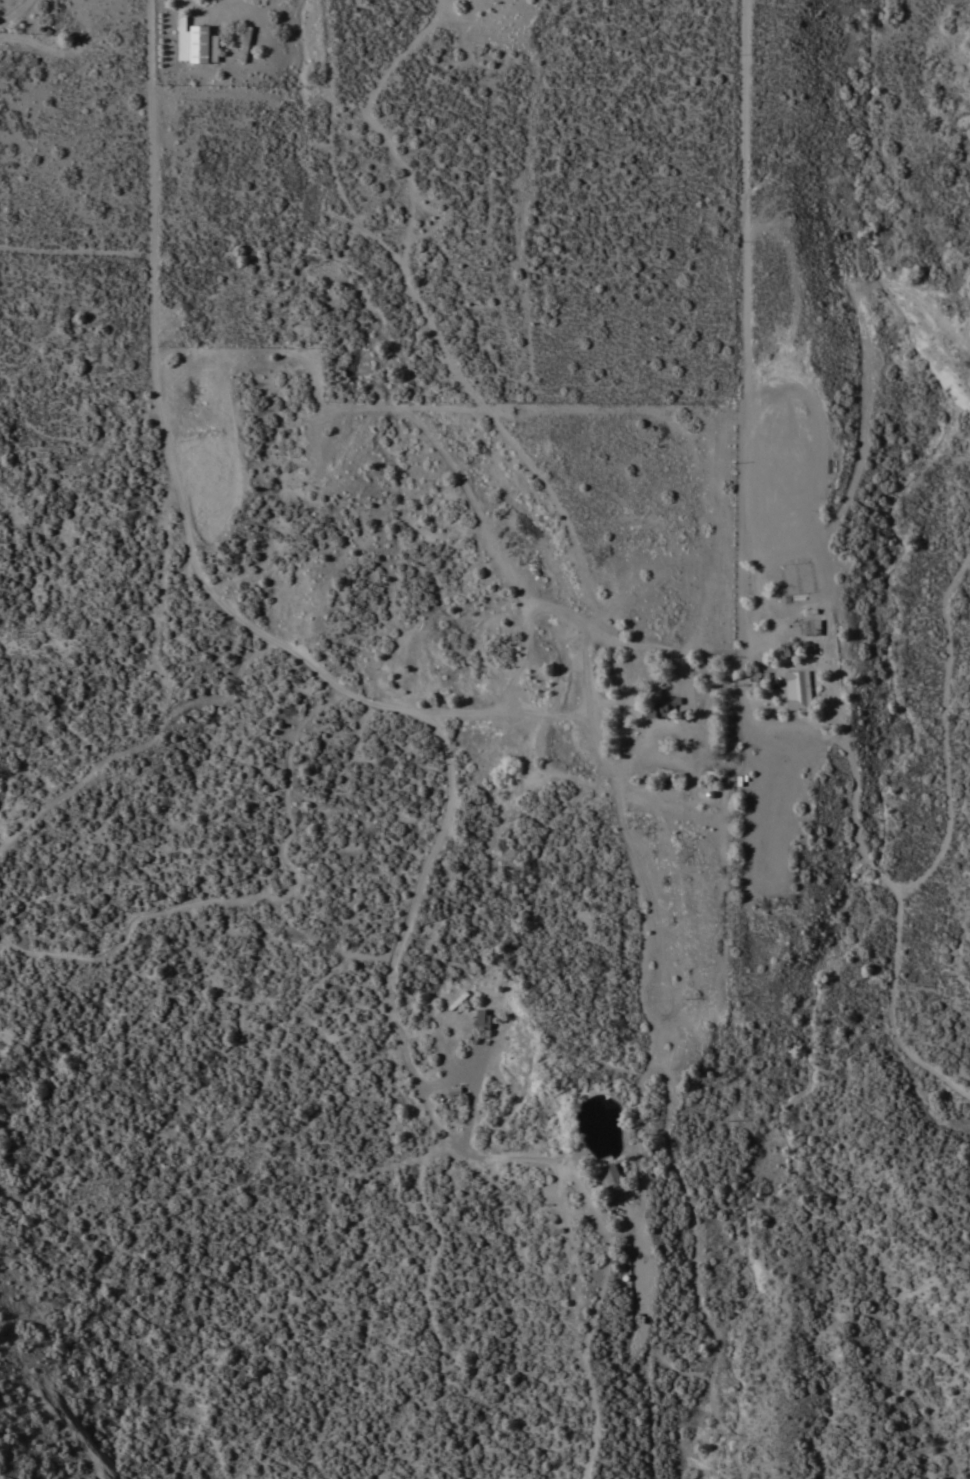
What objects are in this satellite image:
road: (15, 15)
building: (199, 43)
building: (245, 43)
building: (214, 48)
road: (750, 275)
road: (870, 384)
road: (180, 510)
road: (573, 549)
building: (810, 626)
road: (766, 634)
building: (798, 689)
building: (660, 704)
road: (733, 737)
road: (924, 881)
road: (896, 1012)
building: (482, 1019)
road: (408, 1049)
road: (606, 1160)
building: (610, 1180)
road: (647, 1318)
road: (583, 1354)

